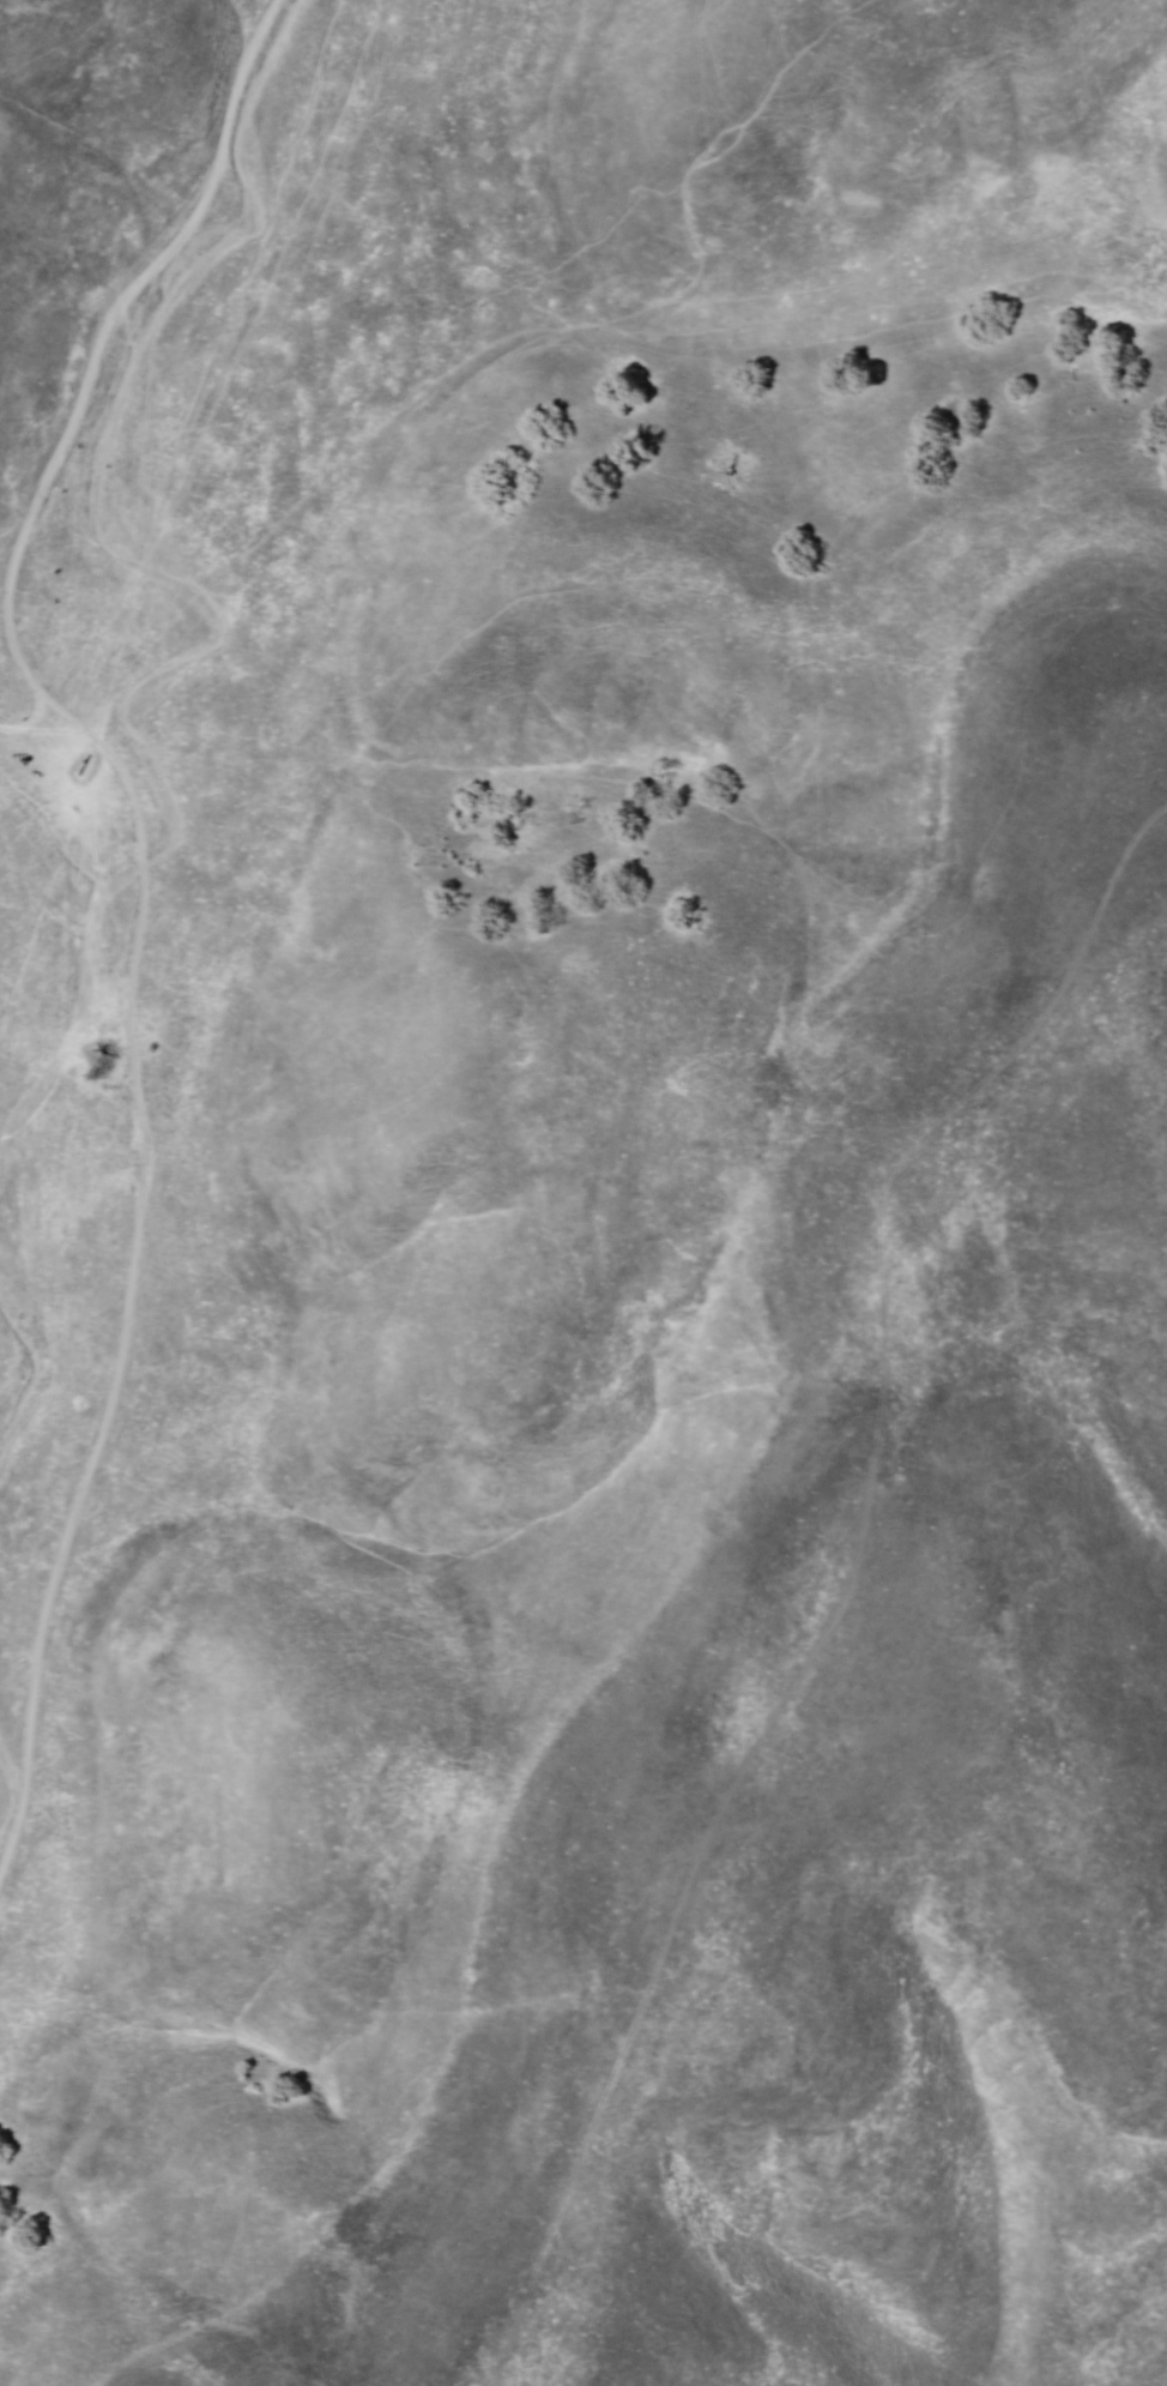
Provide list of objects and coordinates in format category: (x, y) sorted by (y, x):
road: (40, 484)
road: (52, 730)
road: (104, 1423)

